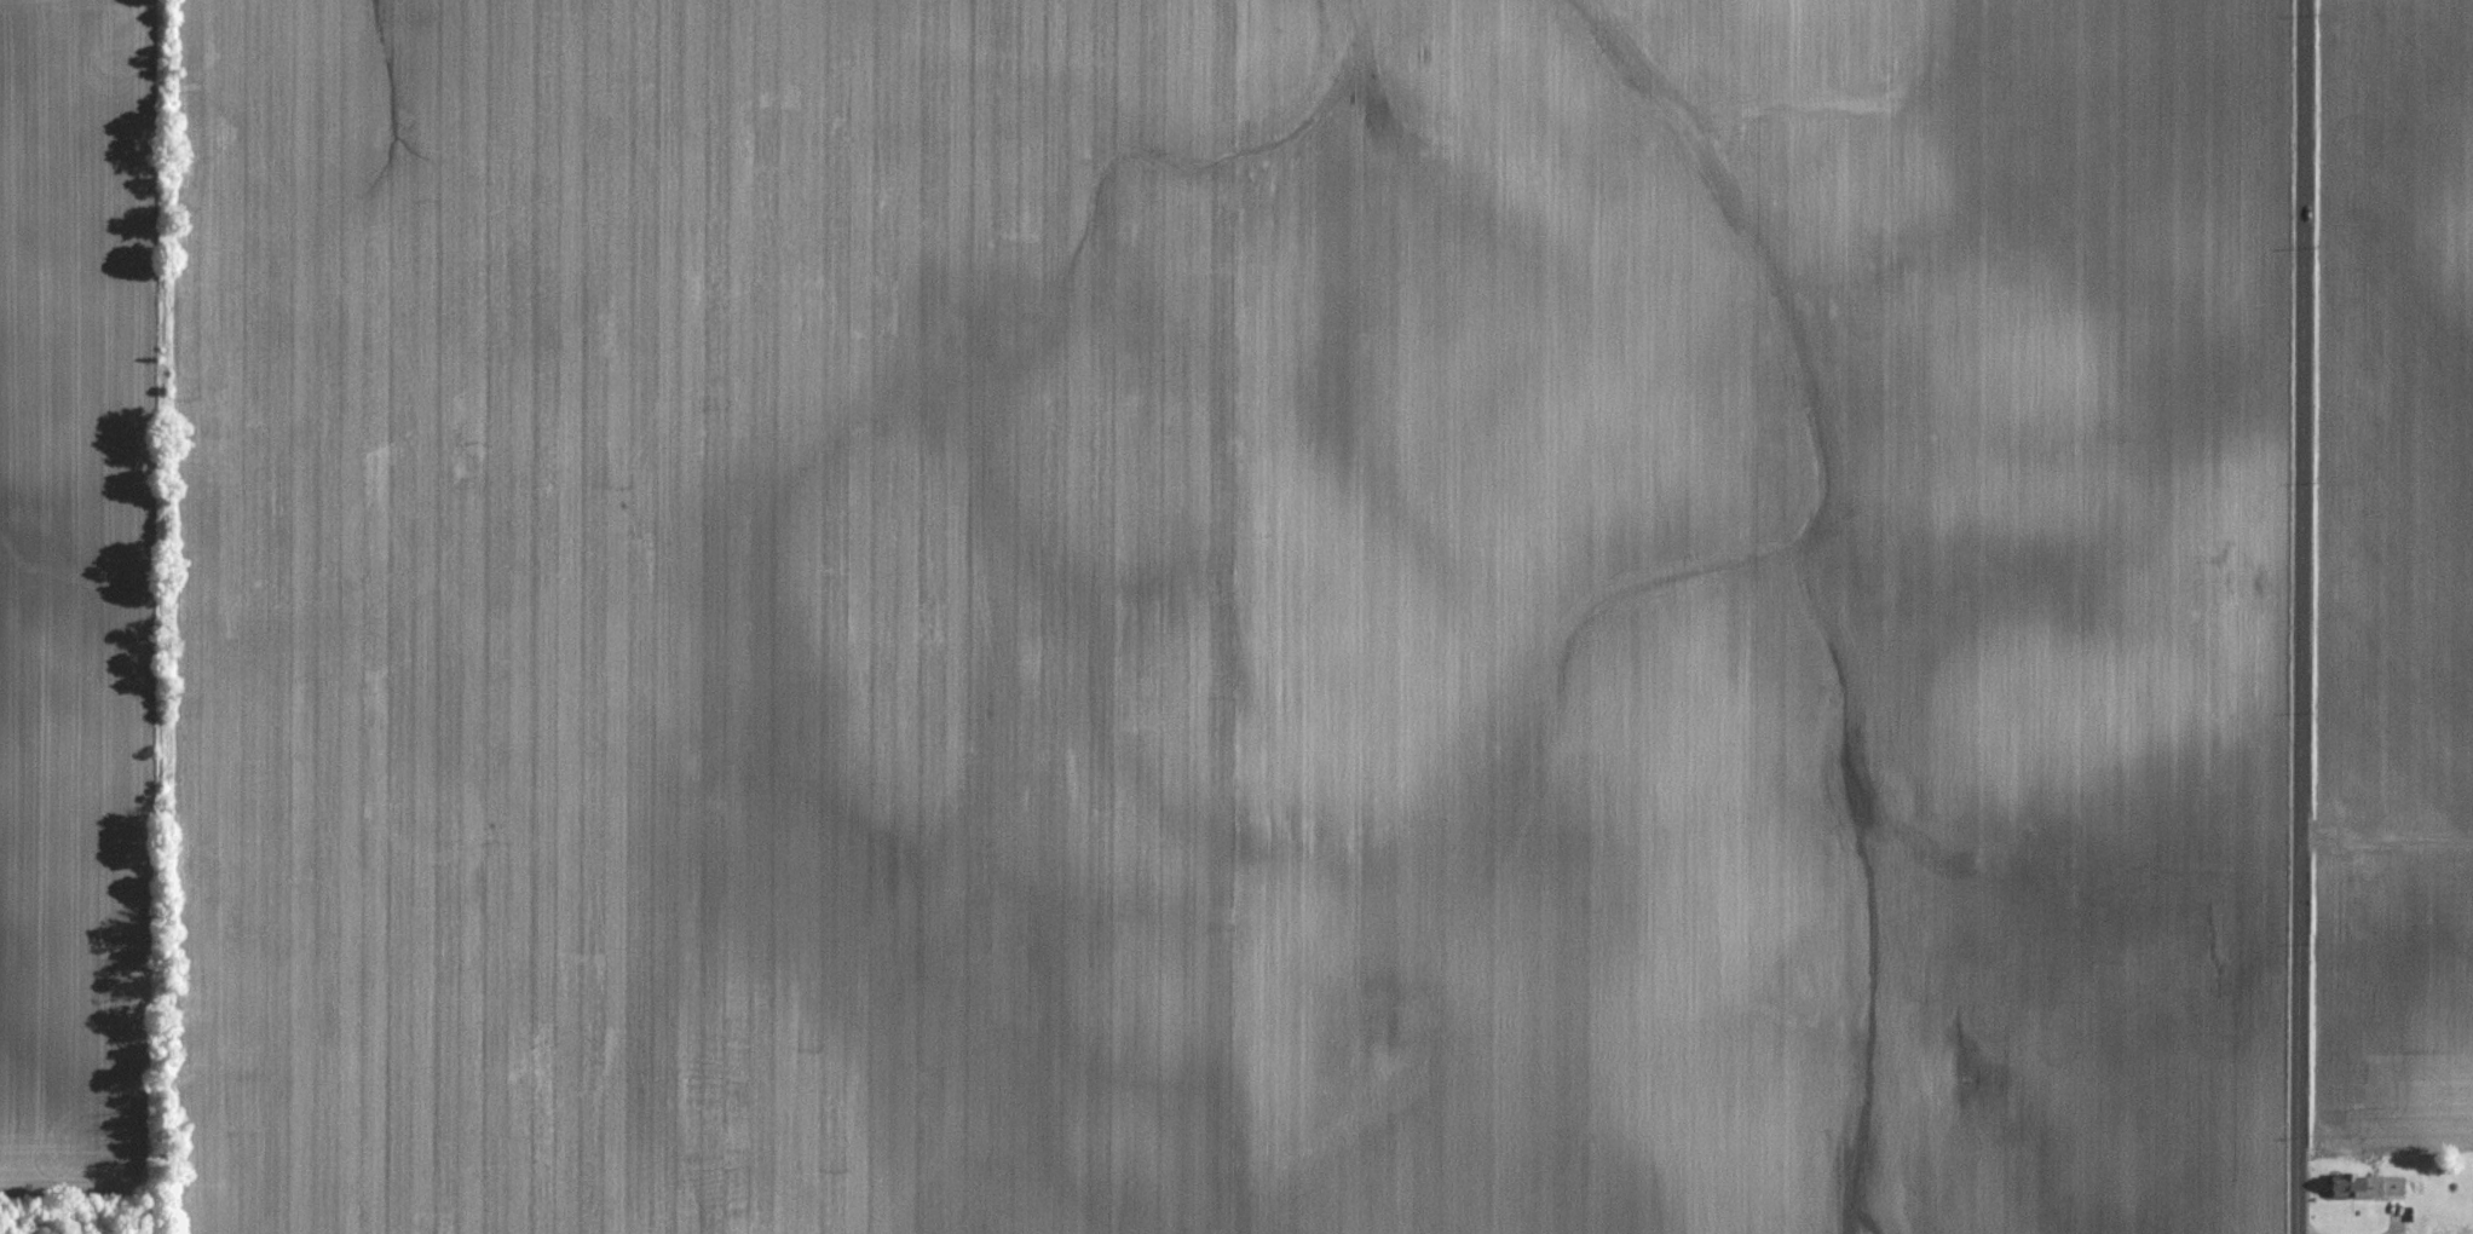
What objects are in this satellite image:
crop: (2397, 581)
road: (2300, 617)
building: (2356, 1186)

